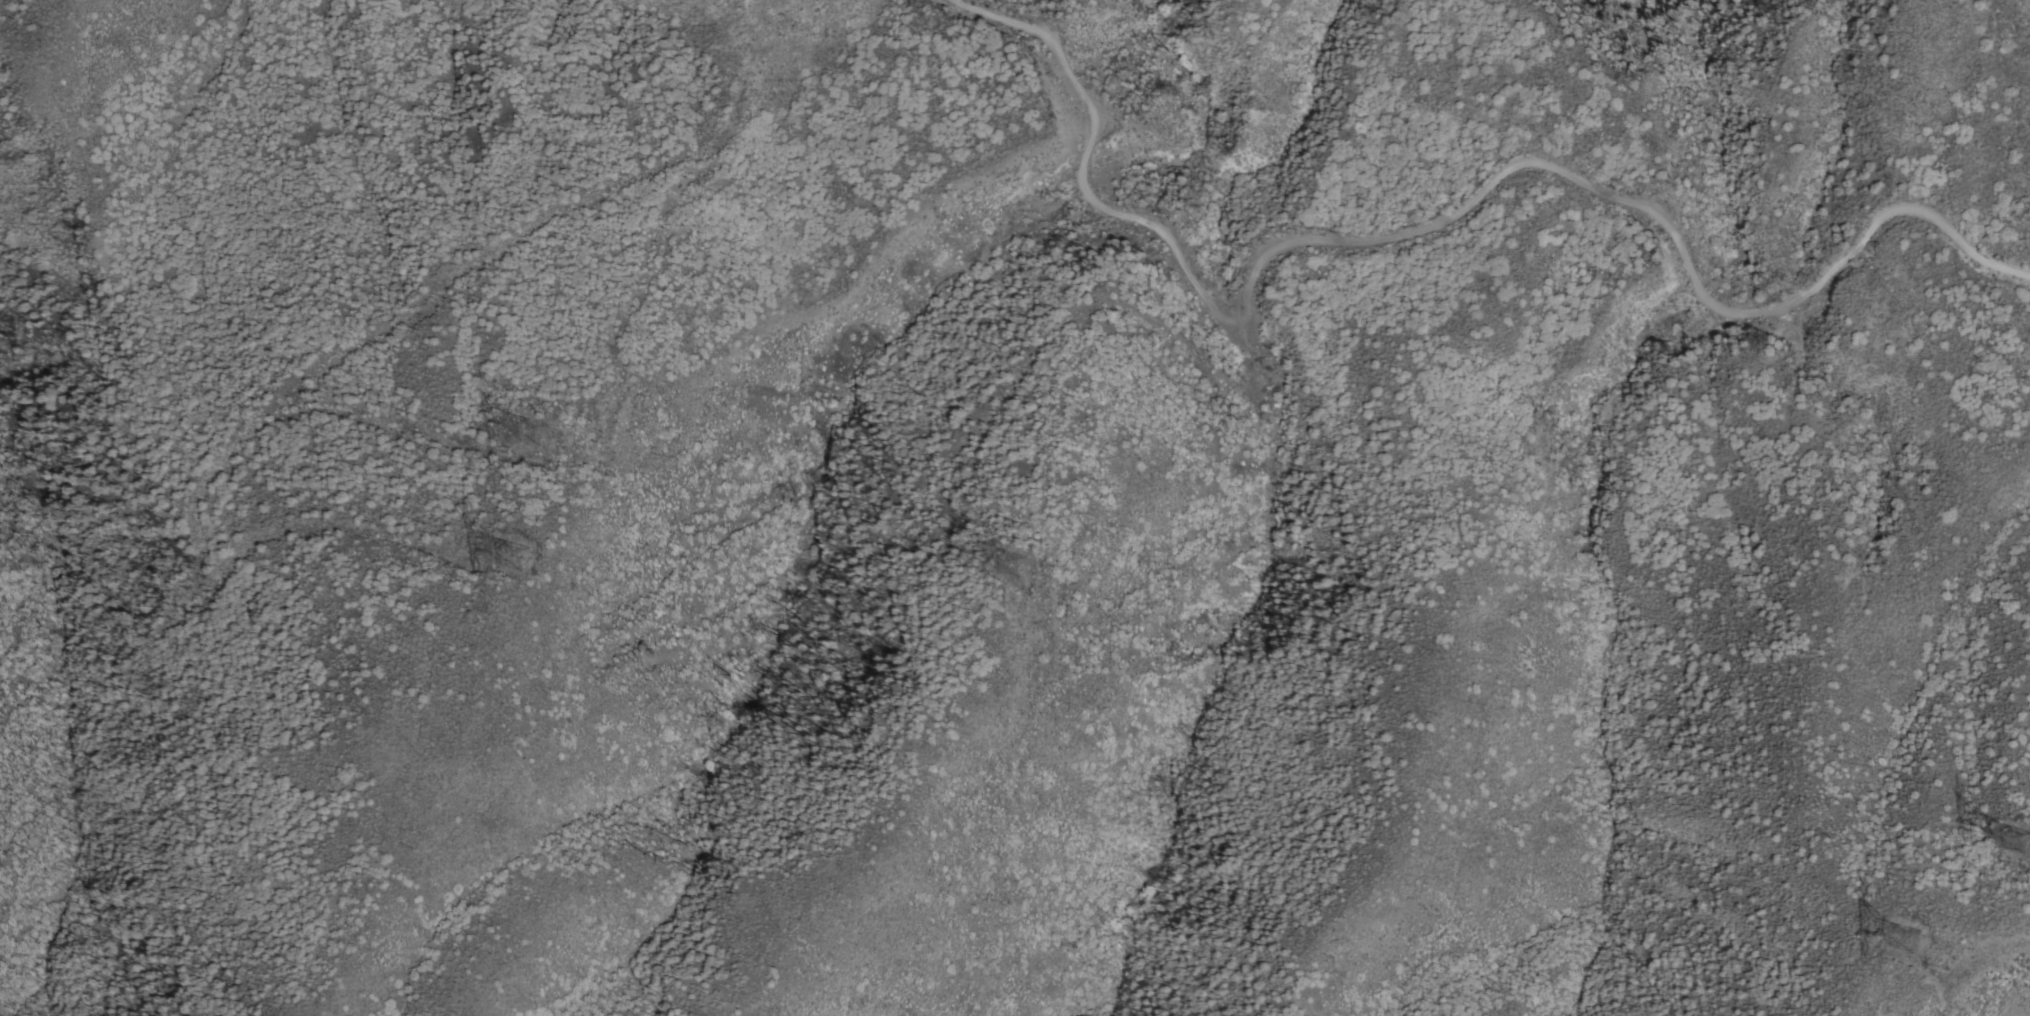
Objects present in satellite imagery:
road: (1448, 222)
power tower: (529, 417)
power tower: (515, 551)
power tower: (1010, 557)
power tower: (2027, 854)
power tower: (1913, 937)

